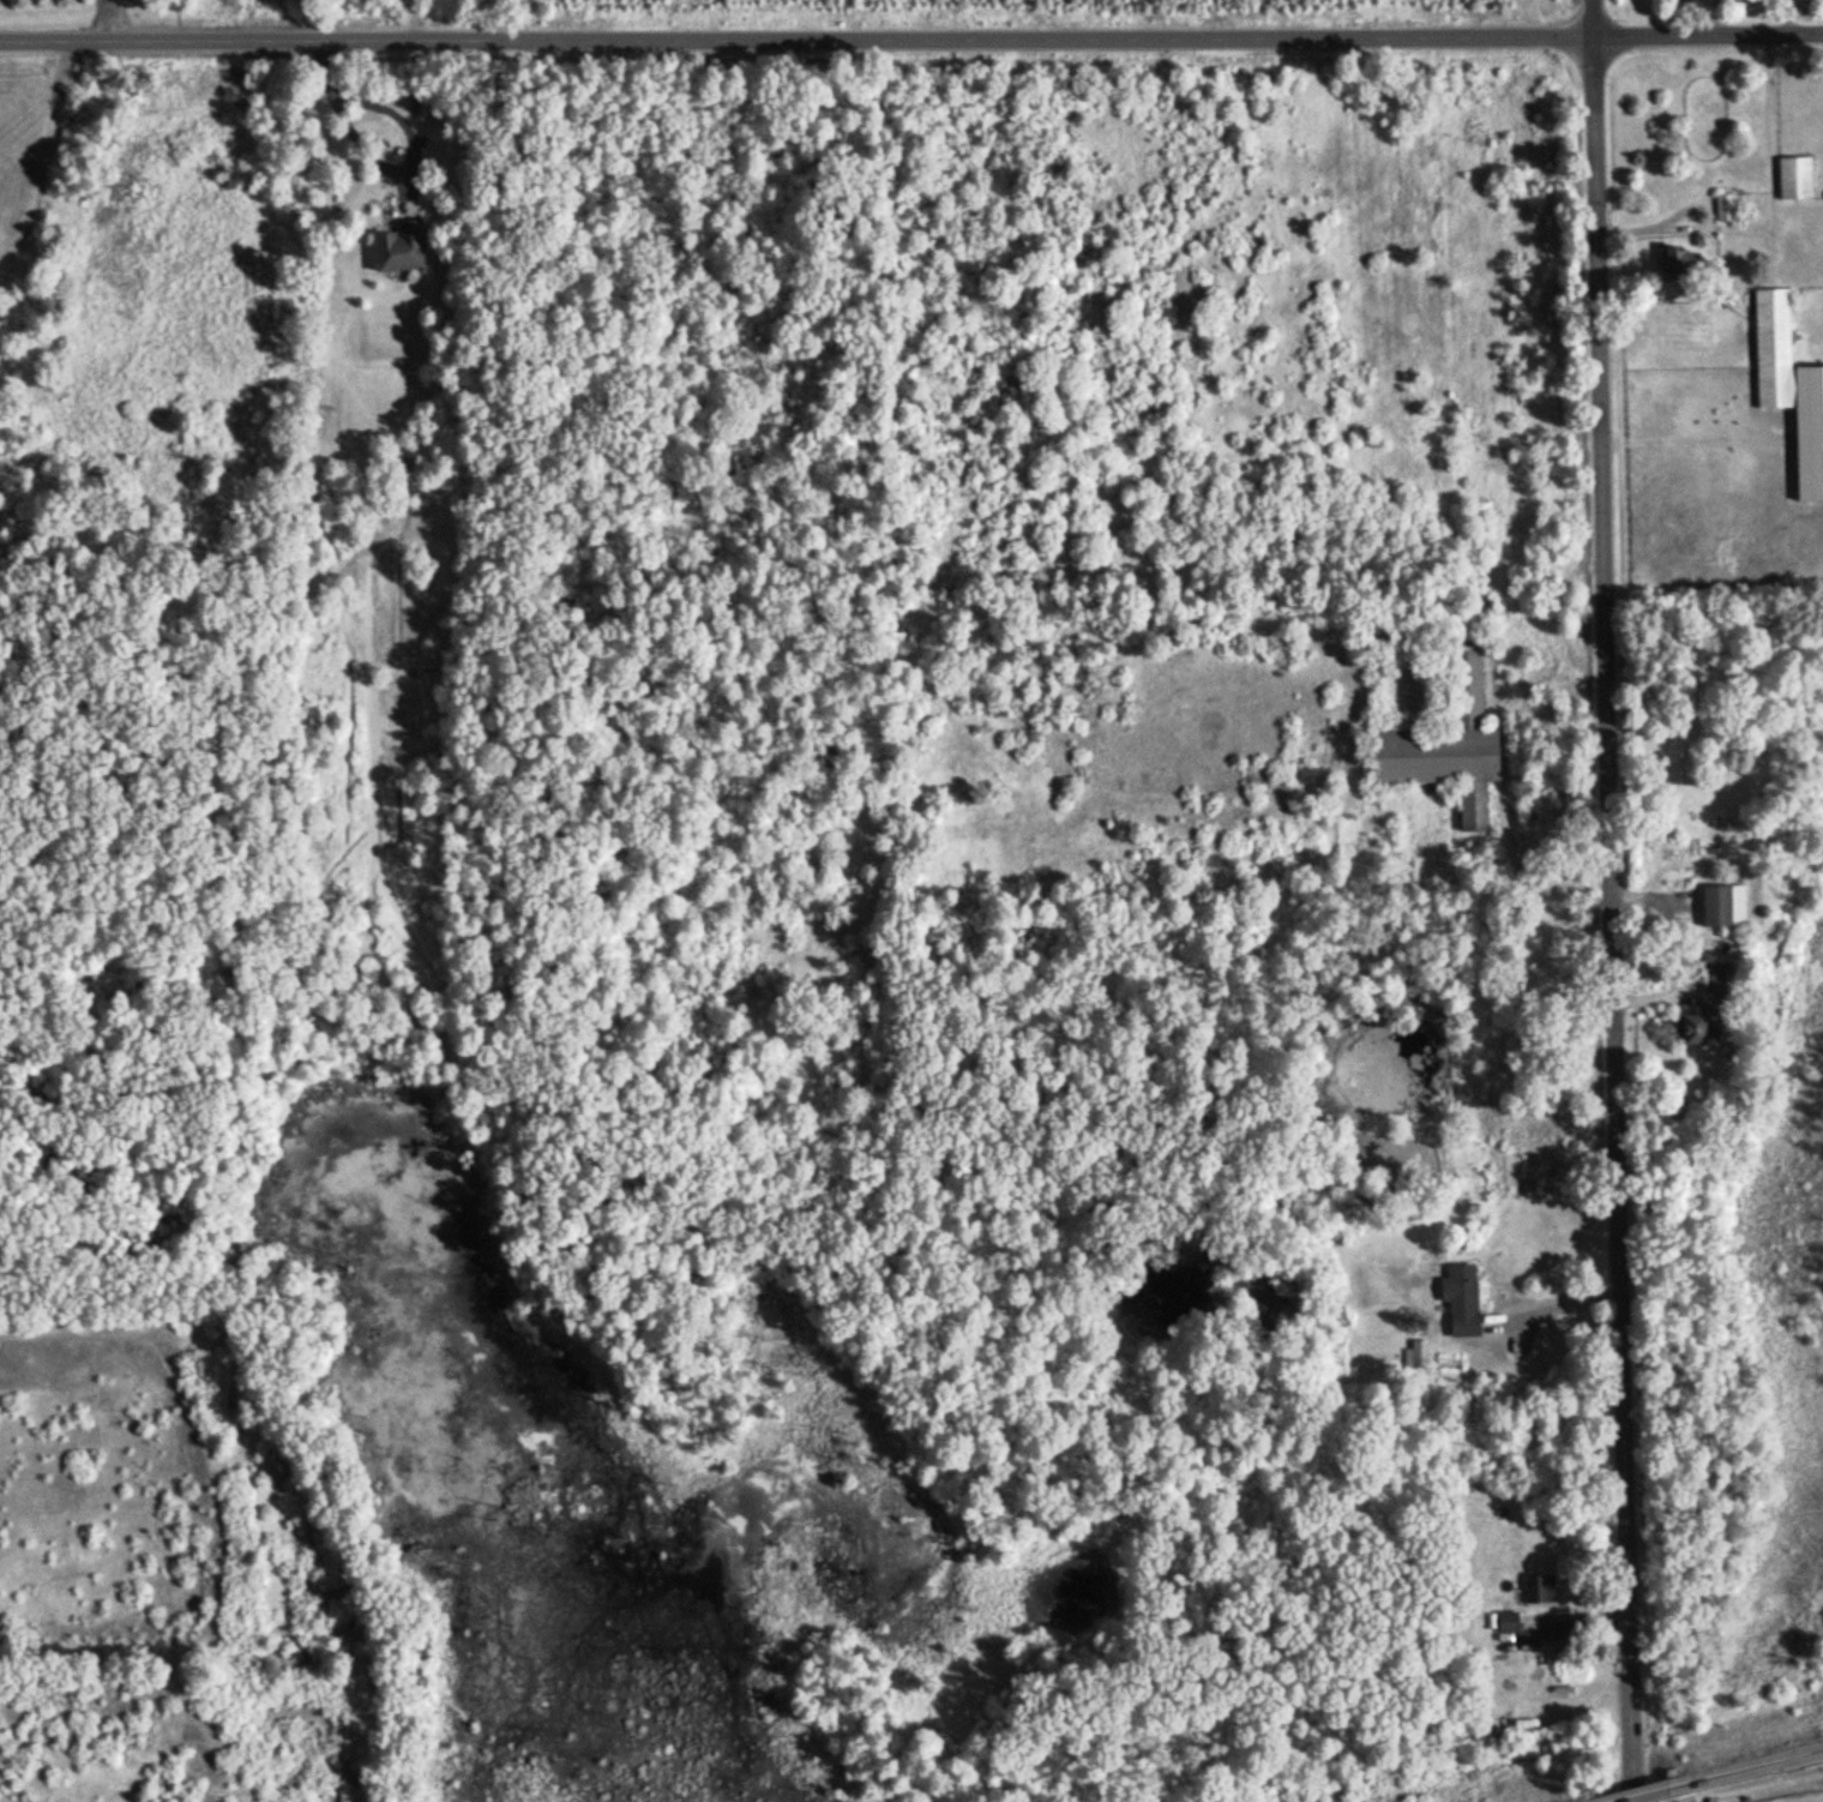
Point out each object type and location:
road: (121, 24)
road: (911, 44)
road: (393, 116)
road: (353, 136)
building: (1797, 178)
building: (1727, 208)
building: (403, 250)
building: (1683, 265)
building: (1791, 385)
building: (1450, 744)
road: (1618, 900)
building: (1727, 906)
building: (1534, 975)
building: (1711, 1009)
road: (1562, 1298)
building: (1463, 1299)
building: (1418, 1352)
building: (1540, 1590)
building: (1508, 1622)
road: (1773, 1789)

